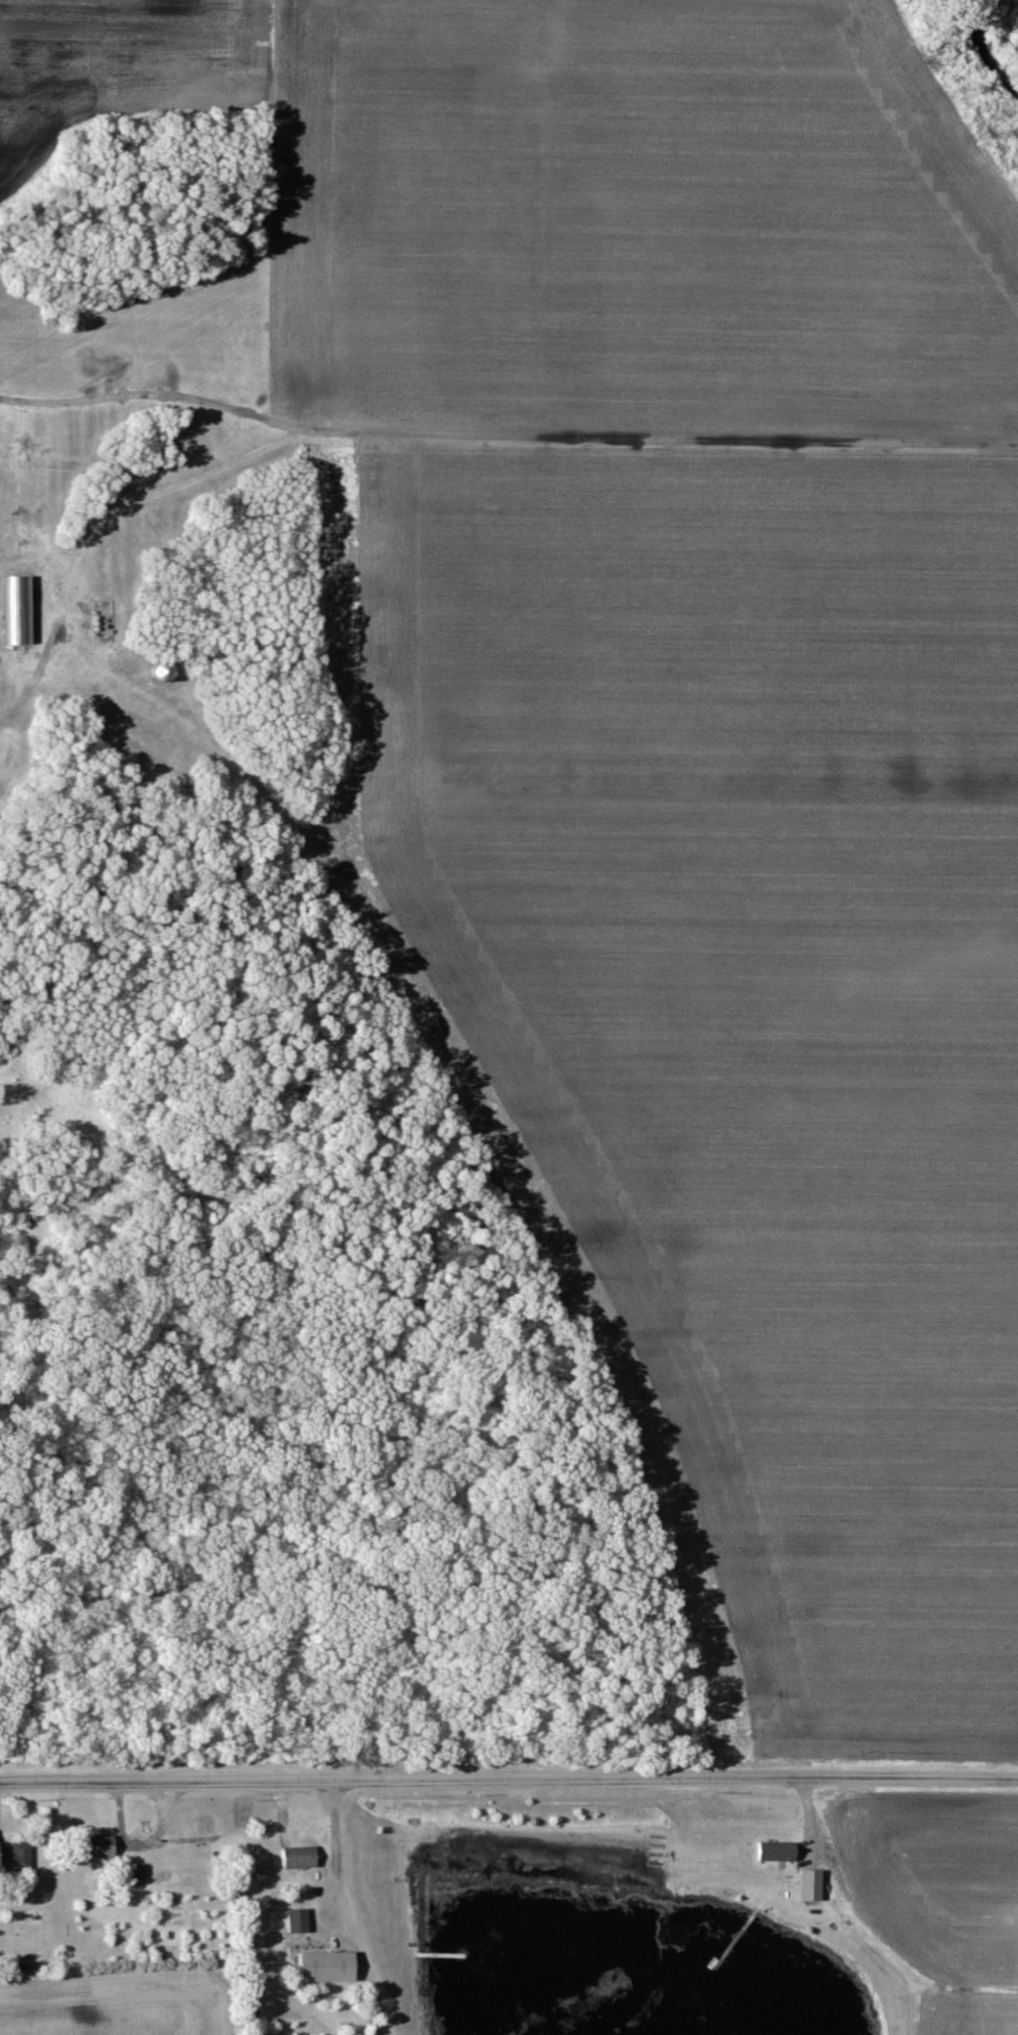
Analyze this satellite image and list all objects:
road: (38, 674)
road: (508, 1779)
building: (104, 1848)
building: (779, 1852)
building: (301, 1858)
building: (17, 1859)
building: (140, 1874)
building: (813, 1886)
road: (342, 1910)
building: (300, 1922)
building: (330, 1968)

